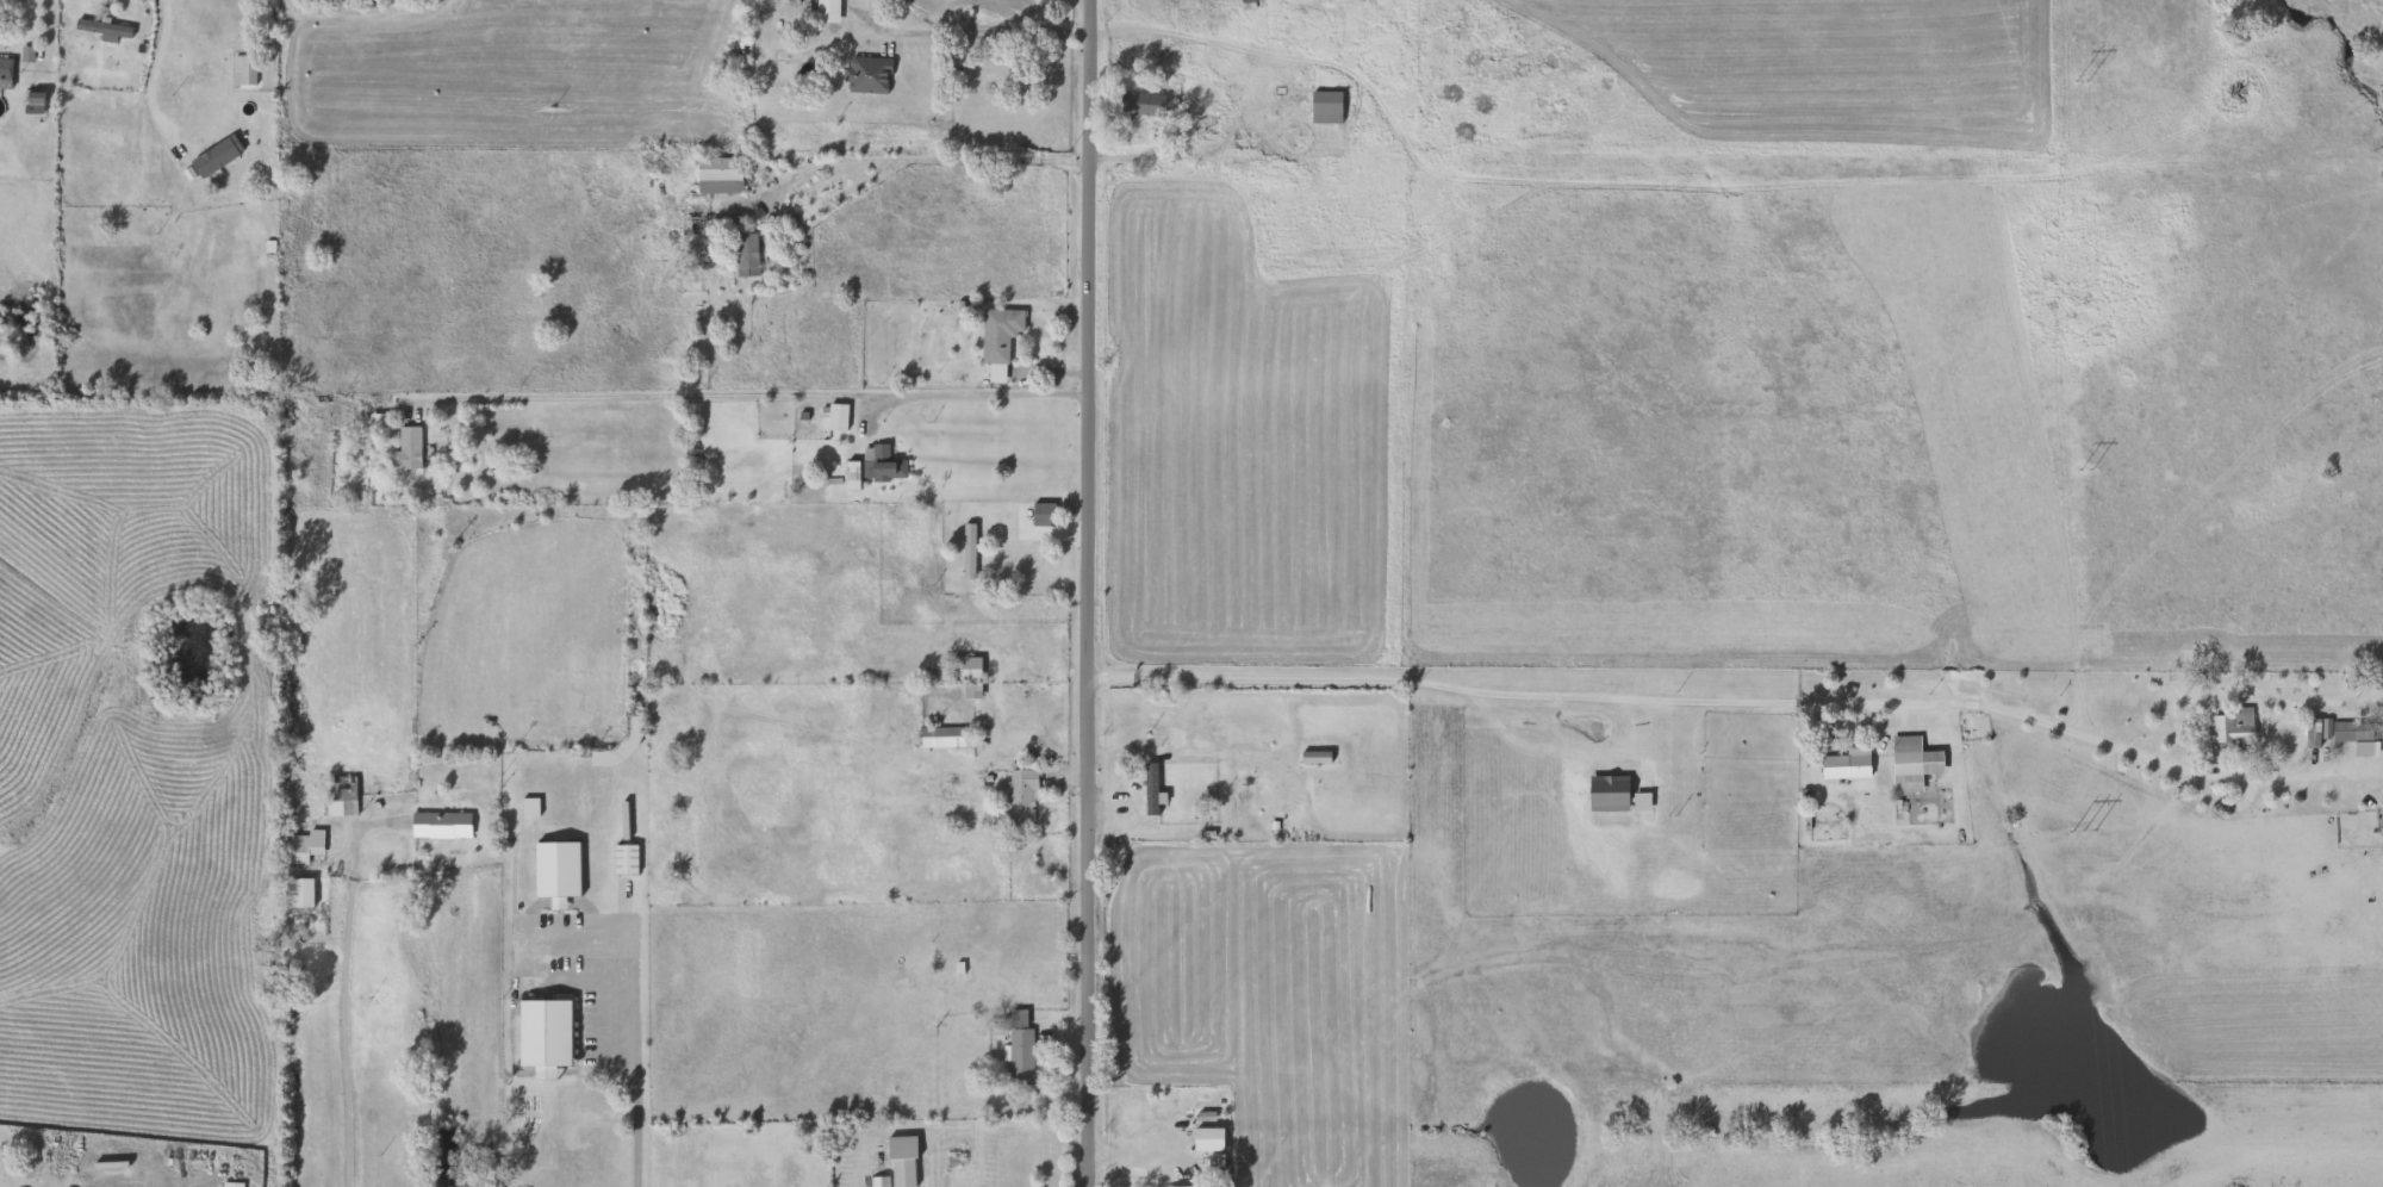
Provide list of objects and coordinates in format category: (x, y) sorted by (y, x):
road: (23, 25)
road: (975, 31)
road: (155, 63)
building: (785, 68)
building: (4, 69)
building: (239, 70)
power tower: (2082, 82)
building: (1138, 105)
building: (1321, 107)
building: (1202, 124)
building: (1242, 141)
road: (1144, 155)
building: (211, 159)
road: (911, 159)
building: (715, 176)
building: (742, 253)
building: (995, 335)
building: (993, 378)
road: (745, 394)
building: (833, 418)
building: (375, 423)
building: (403, 449)
building: (878, 467)
power tower: (2088, 471)
building: (1039, 514)
road: (1058, 536)
building: (964, 551)
road: (1079, 592)
building: (960, 669)
building: (2359, 683)
road: (1712, 701)
building: (2229, 729)
building: (2352, 731)
building: (941, 737)
building: (1903, 764)
building: (1842, 765)
building: (1128, 793)
building: (337, 796)
building: (1016, 798)
building: (525, 807)
building: (436, 825)
power tower: (2084, 829)
building: (300, 846)
building: (622, 859)
building: (552, 871)
building: (295, 894)
road: (515, 934)
road: (342, 986)
road: (598, 1023)
building: (541, 1036)
building: (1016, 1049)
road: (633, 1083)
building: (1203, 1138)
building: (1176, 1186)

